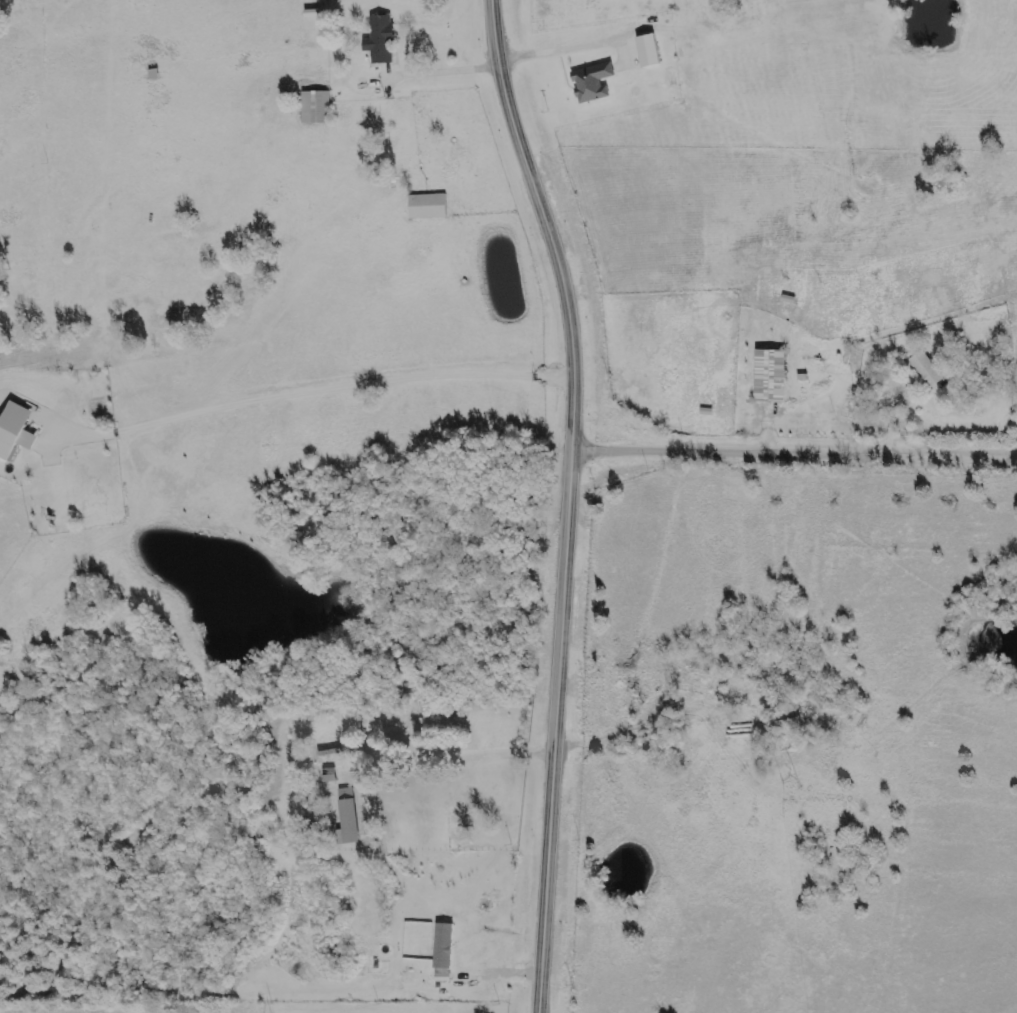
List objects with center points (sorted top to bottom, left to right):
building: (377, 40)
building: (652, 50)
road: (520, 54)
building: (589, 82)
building: (313, 108)
building: (393, 148)
building: (424, 206)
building: (923, 370)
building: (767, 376)
road: (311, 387)
building: (13, 431)
road: (796, 452)
road: (571, 501)
road: (448, 755)
building: (469, 807)
building: (345, 817)
building: (447, 945)

